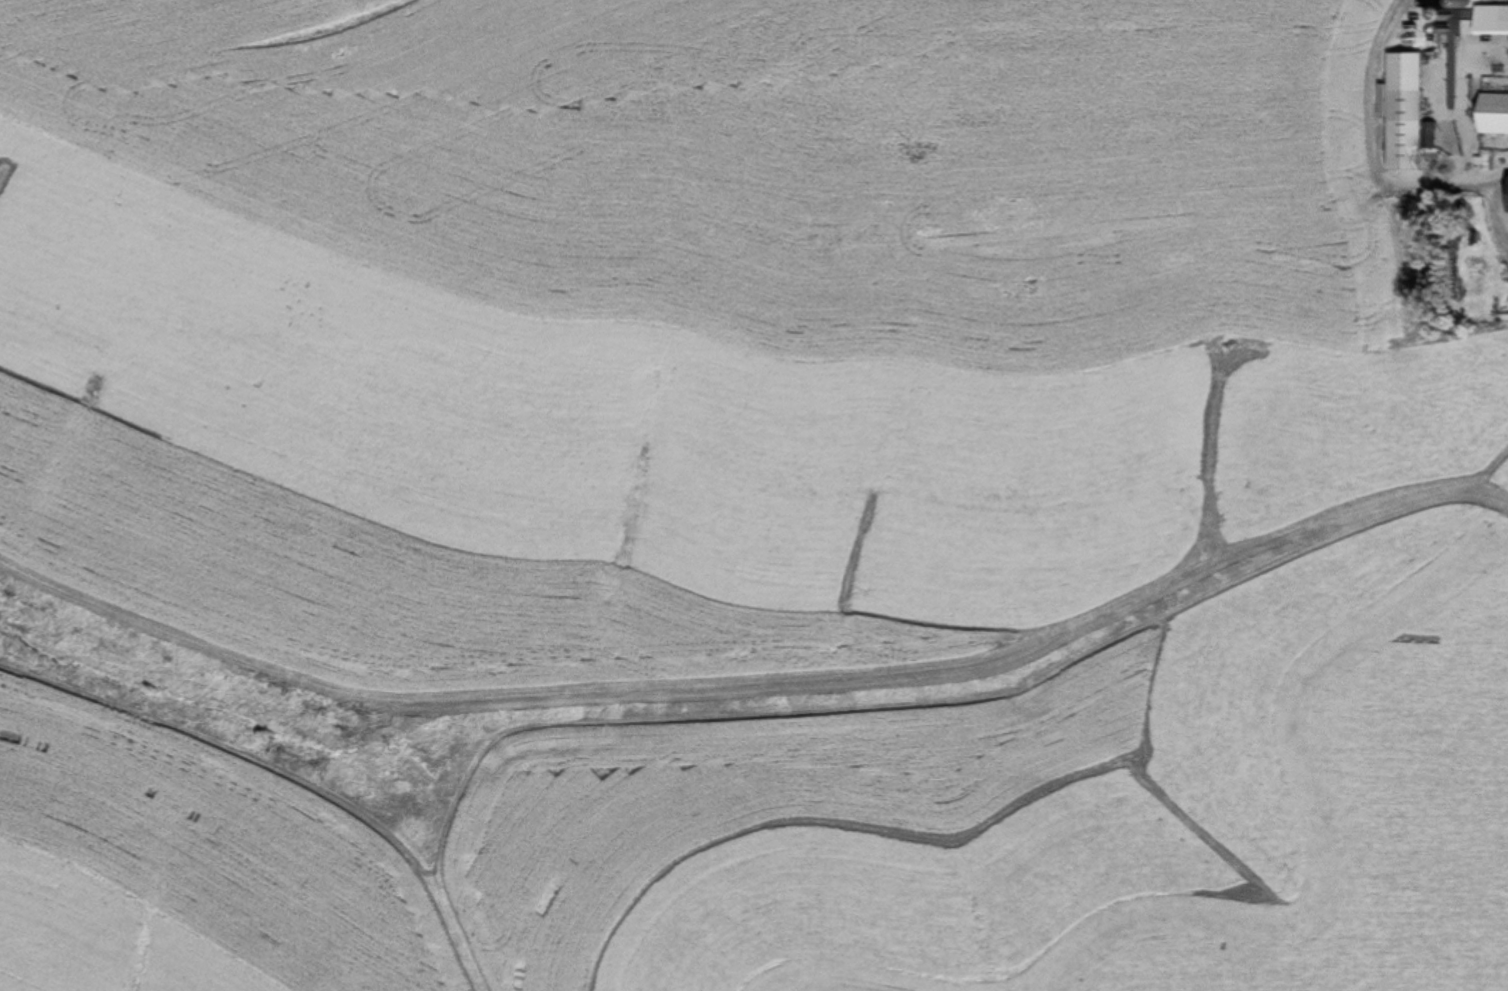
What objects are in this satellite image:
building: (1489, 19)
building: (1401, 112)
building: (1492, 114)
building: (1507, 194)

